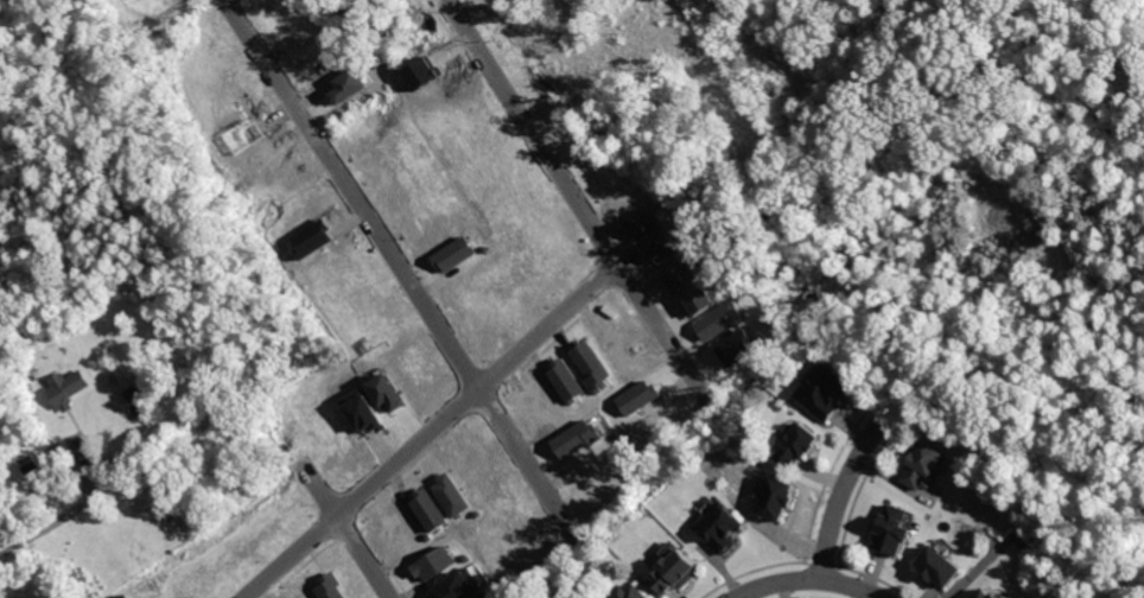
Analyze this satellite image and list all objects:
building: (348, 84)
road: (722, 84)
road: (587, 210)
building: (455, 253)
road: (174, 256)
road: (408, 275)
building: (684, 275)
building: (699, 300)
building: (738, 346)
building: (119, 377)
building: (566, 380)
building: (69, 390)
building: (388, 392)
building: (825, 392)
building: (638, 395)
building: (366, 413)
road: (45, 415)
road: (432, 431)
building: (577, 437)
building: (799, 444)
road: (128, 465)
building: (924, 465)
road: (846, 486)
building: (452, 494)
building: (20, 497)
building: (780, 500)
building: (430, 509)
building: (723, 527)
building: (895, 532)
road: (366, 555)
building: (434, 562)
building: (940, 567)
building: (678, 572)
road: (813, 575)
building: (459, 584)
building: (331, 586)
building: (631, 592)
building: (986, 594)
building: (126, 596)
building: (482, 596)

